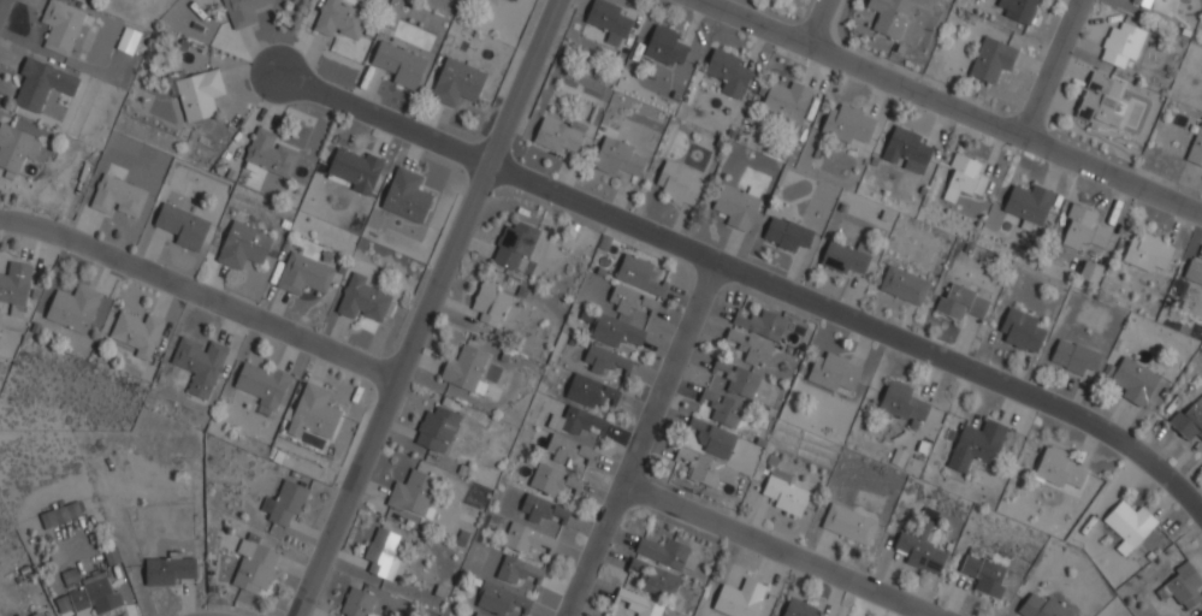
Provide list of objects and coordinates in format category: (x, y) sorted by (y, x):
building: (515, 0)
road: (0, 1)
building: (1142, 2)
building: (242, 11)
building: (888, 16)
building: (339, 18)
building: (608, 20)
road: (819, 23)
building: (60, 25)
building: (128, 41)
building: (1121, 45)
building: (664, 46)
building: (991, 59)
building: (398, 64)
road: (859, 67)
road: (1049, 67)
building: (728, 72)
building: (456, 82)
building: (40, 83)
building: (197, 94)
building: (787, 100)
building: (1100, 100)
road: (386, 120)
building: (847, 124)
building: (558, 135)
building: (16, 148)
building: (1196, 148)
building: (907, 149)
building: (268, 154)
building: (617, 158)
building: (355, 170)
road: (1111, 174)
building: (964, 178)
building: (677, 183)
building: (118, 196)
building: (405, 196)
building: (1029, 206)
building: (182, 226)
building: (1084, 229)
building: (787, 233)
building: (514, 244)
building: (243, 245)
building: (1147, 253)
building: (846, 257)
building: (1090, 272)
building: (1194, 272)
building: (303, 274)
building: (639, 274)
building: (904, 285)
building: (14, 286)
road: (199, 291)
building: (362, 300)
building: (629, 300)
building: (490, 303)
building: (961, 303)
road: (425, 307)
building: (72, 308)
road: (857, 320)
building: (760, 324)
building: (610, 328)
building: (1020, 330)
building: (137, 332)
building: (748, 346)
building: (1073, 357)
building: (605, 360)
building: (199, 363)
building: (466, 369)
building: (833, 372)
building: (739, 380)
building: (1133, 381)
building: (262, 384)
building: (590, 391)
building: (902, 403)
building: (722, 407)
building: (313, 413)
building: (1189, 421)
building: (436, 430)
building: (572, 436)
road: (641, 438)
building: (712, 438)
building: (976, 445)
building: (705, 468)
building: (1058, 469)
building: (552, 479)
building: (185, 487)
building: (784, 492)
building: (413, 493)
building: (284, 503)
building: (535, 508)
building: (559, 511)
building: (60, 515)
building: (848, 523)
building: (1129, 526)
building: (526, 539)
building: (919, 547)
road: (776, 550)
building: (383, 552)
building: (668, 553)
building: (253, 567)
building: (167, 569)
building: (517, 570)
building: (983, 575)
building: (1184, 586)
building: (95, 594)
building: (495, 598)
building: (739, 599)
building: (522, 602)
building: (356, 603)
building: (639, 603)
building: (1041, 608)
building: (798, 609)
building: (36, 614)
building: (478, 614)
building: (19, 615)

